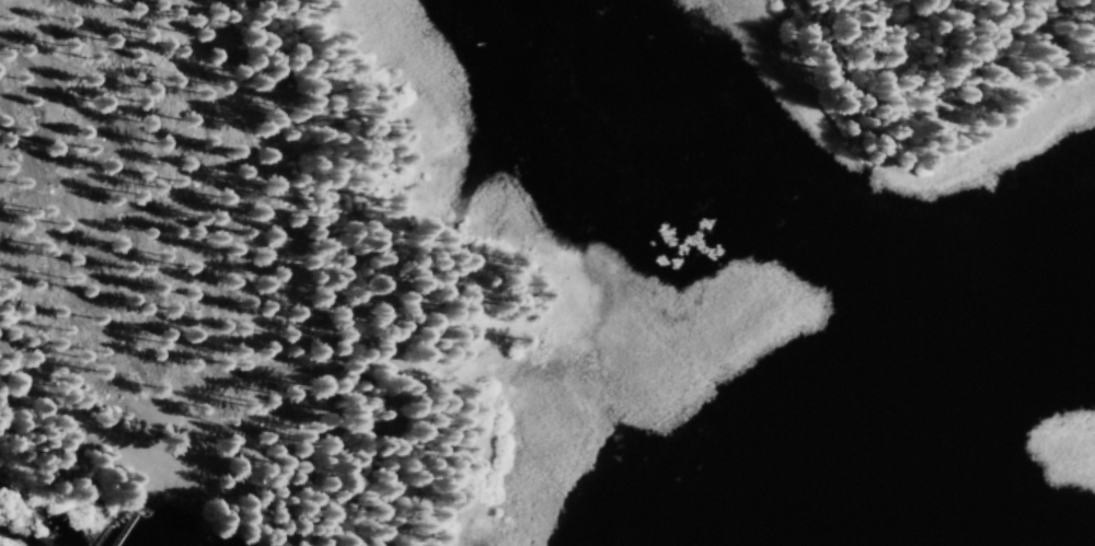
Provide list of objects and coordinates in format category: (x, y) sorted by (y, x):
road: (89, 420)
dam: (142, 527)

